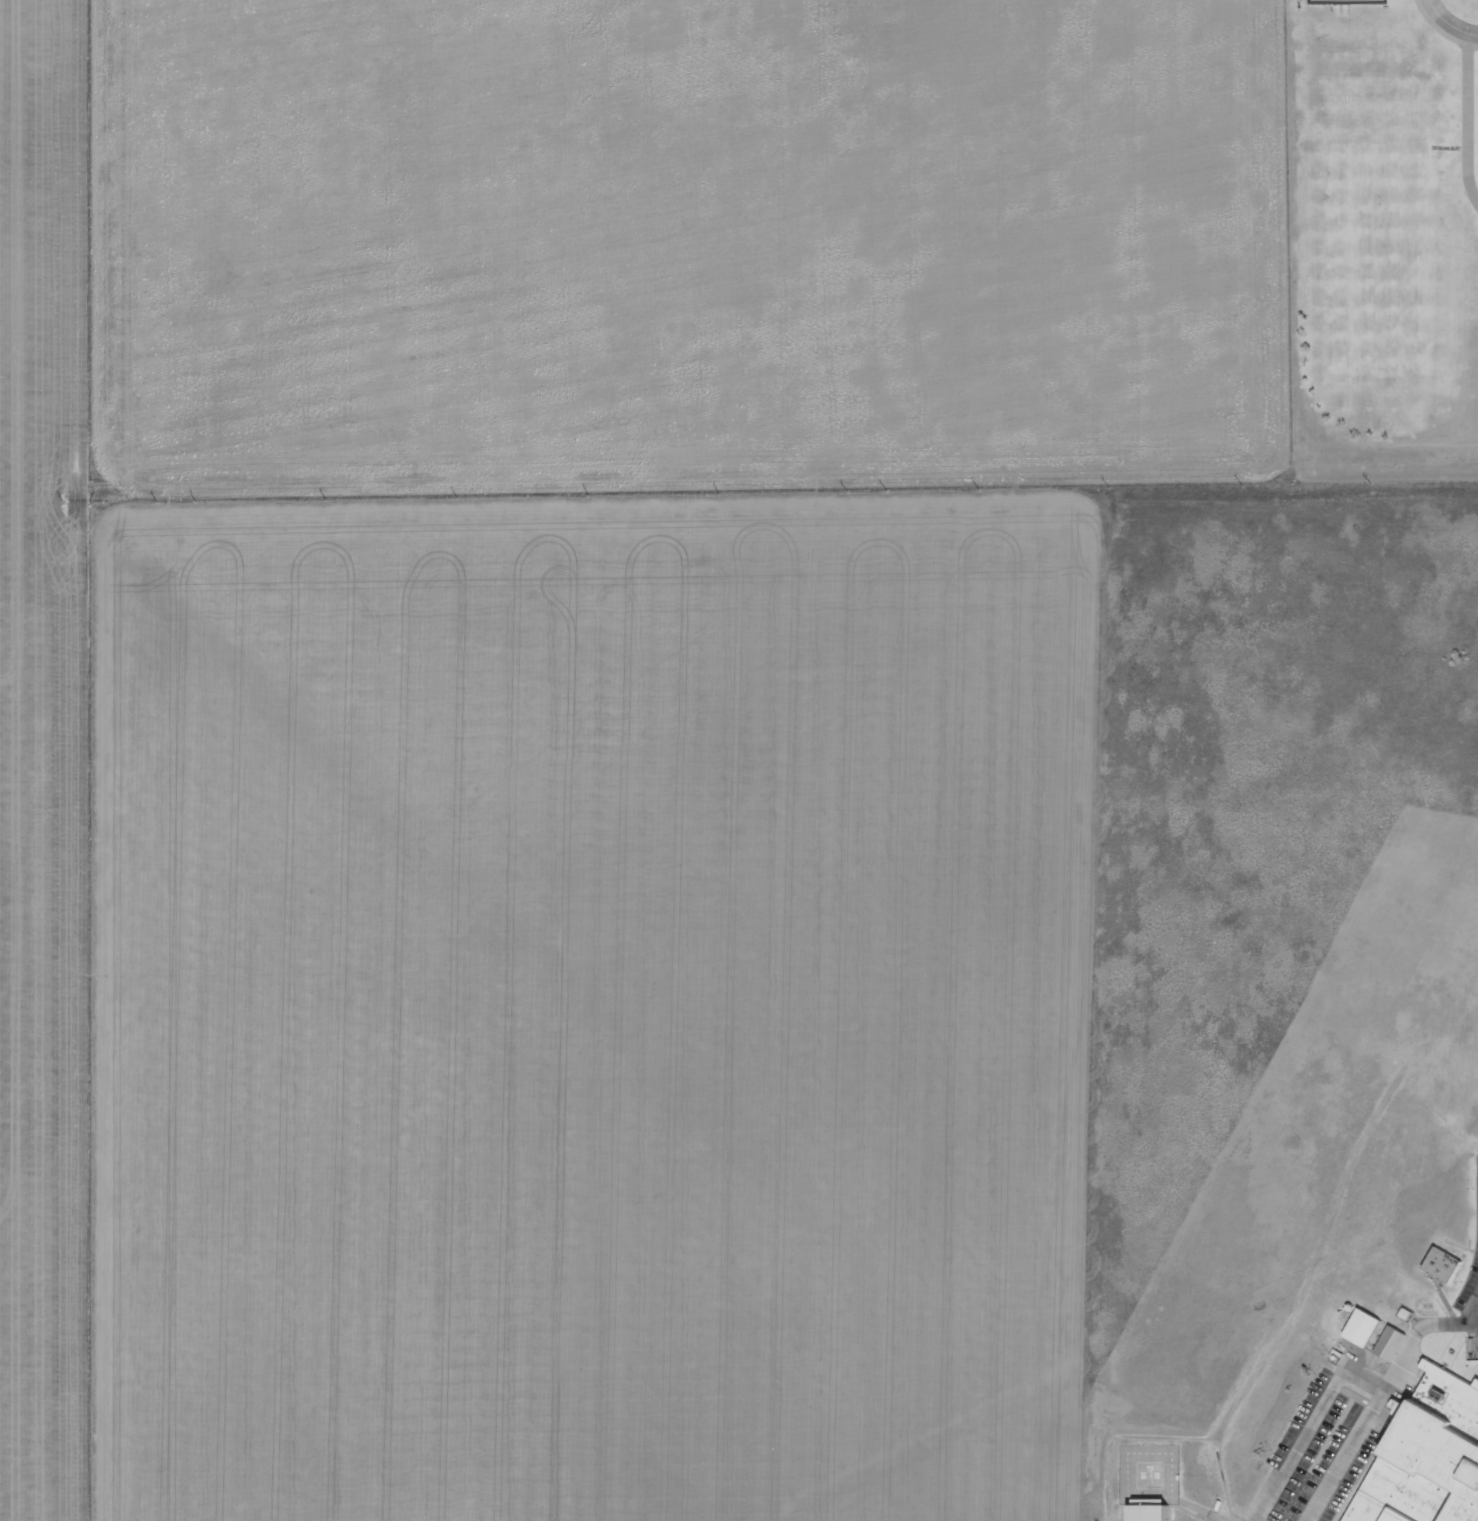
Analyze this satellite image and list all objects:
park: (1343, 2)
road: (1448, 24)
road: (1474, 115)
building: (1448, 1268)
road: (1471, 1306)
building: (1356, 1328)
building: (1368, 1332)
building: (1383, 1343)
building: (1396, 1345)
building: (1431, 1457)
helipad: (1150, 1475)
building: (1153, 1515)
road: (1244, 1520)

